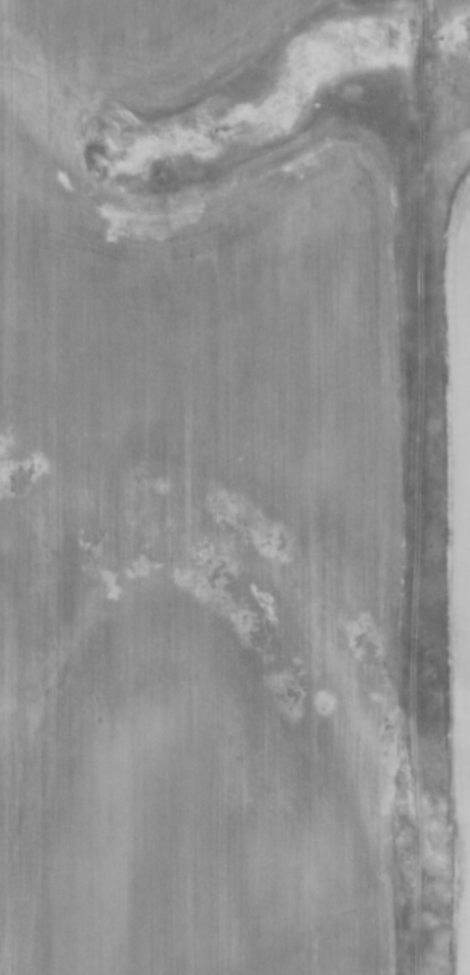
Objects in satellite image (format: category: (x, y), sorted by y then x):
road: (418, 487)

